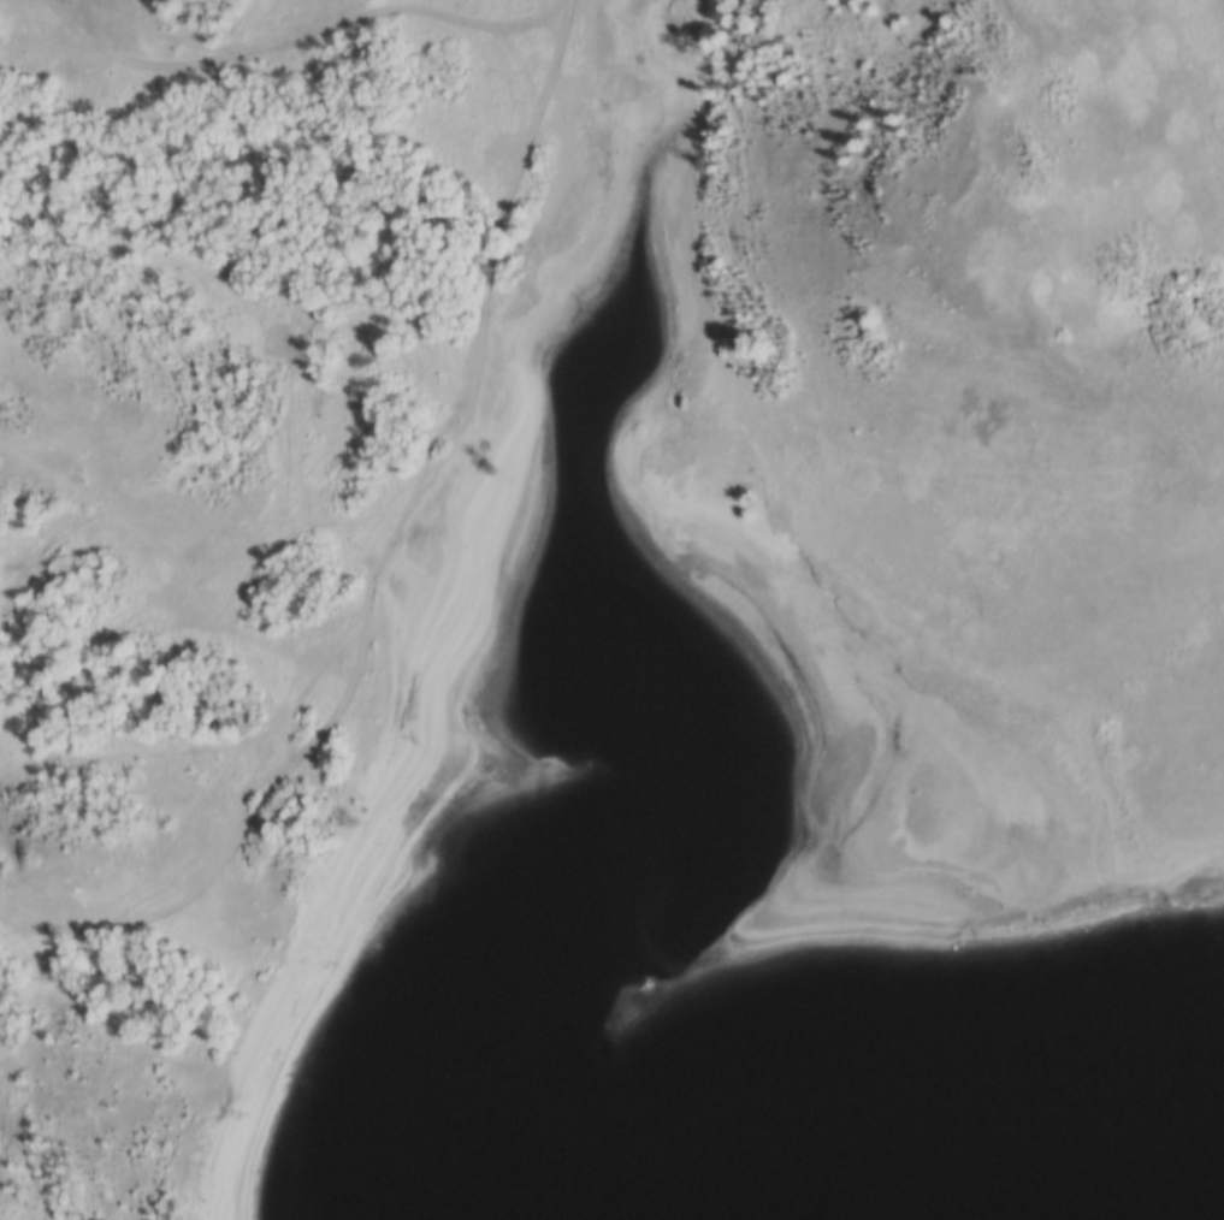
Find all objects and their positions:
road: (1223, 2)

